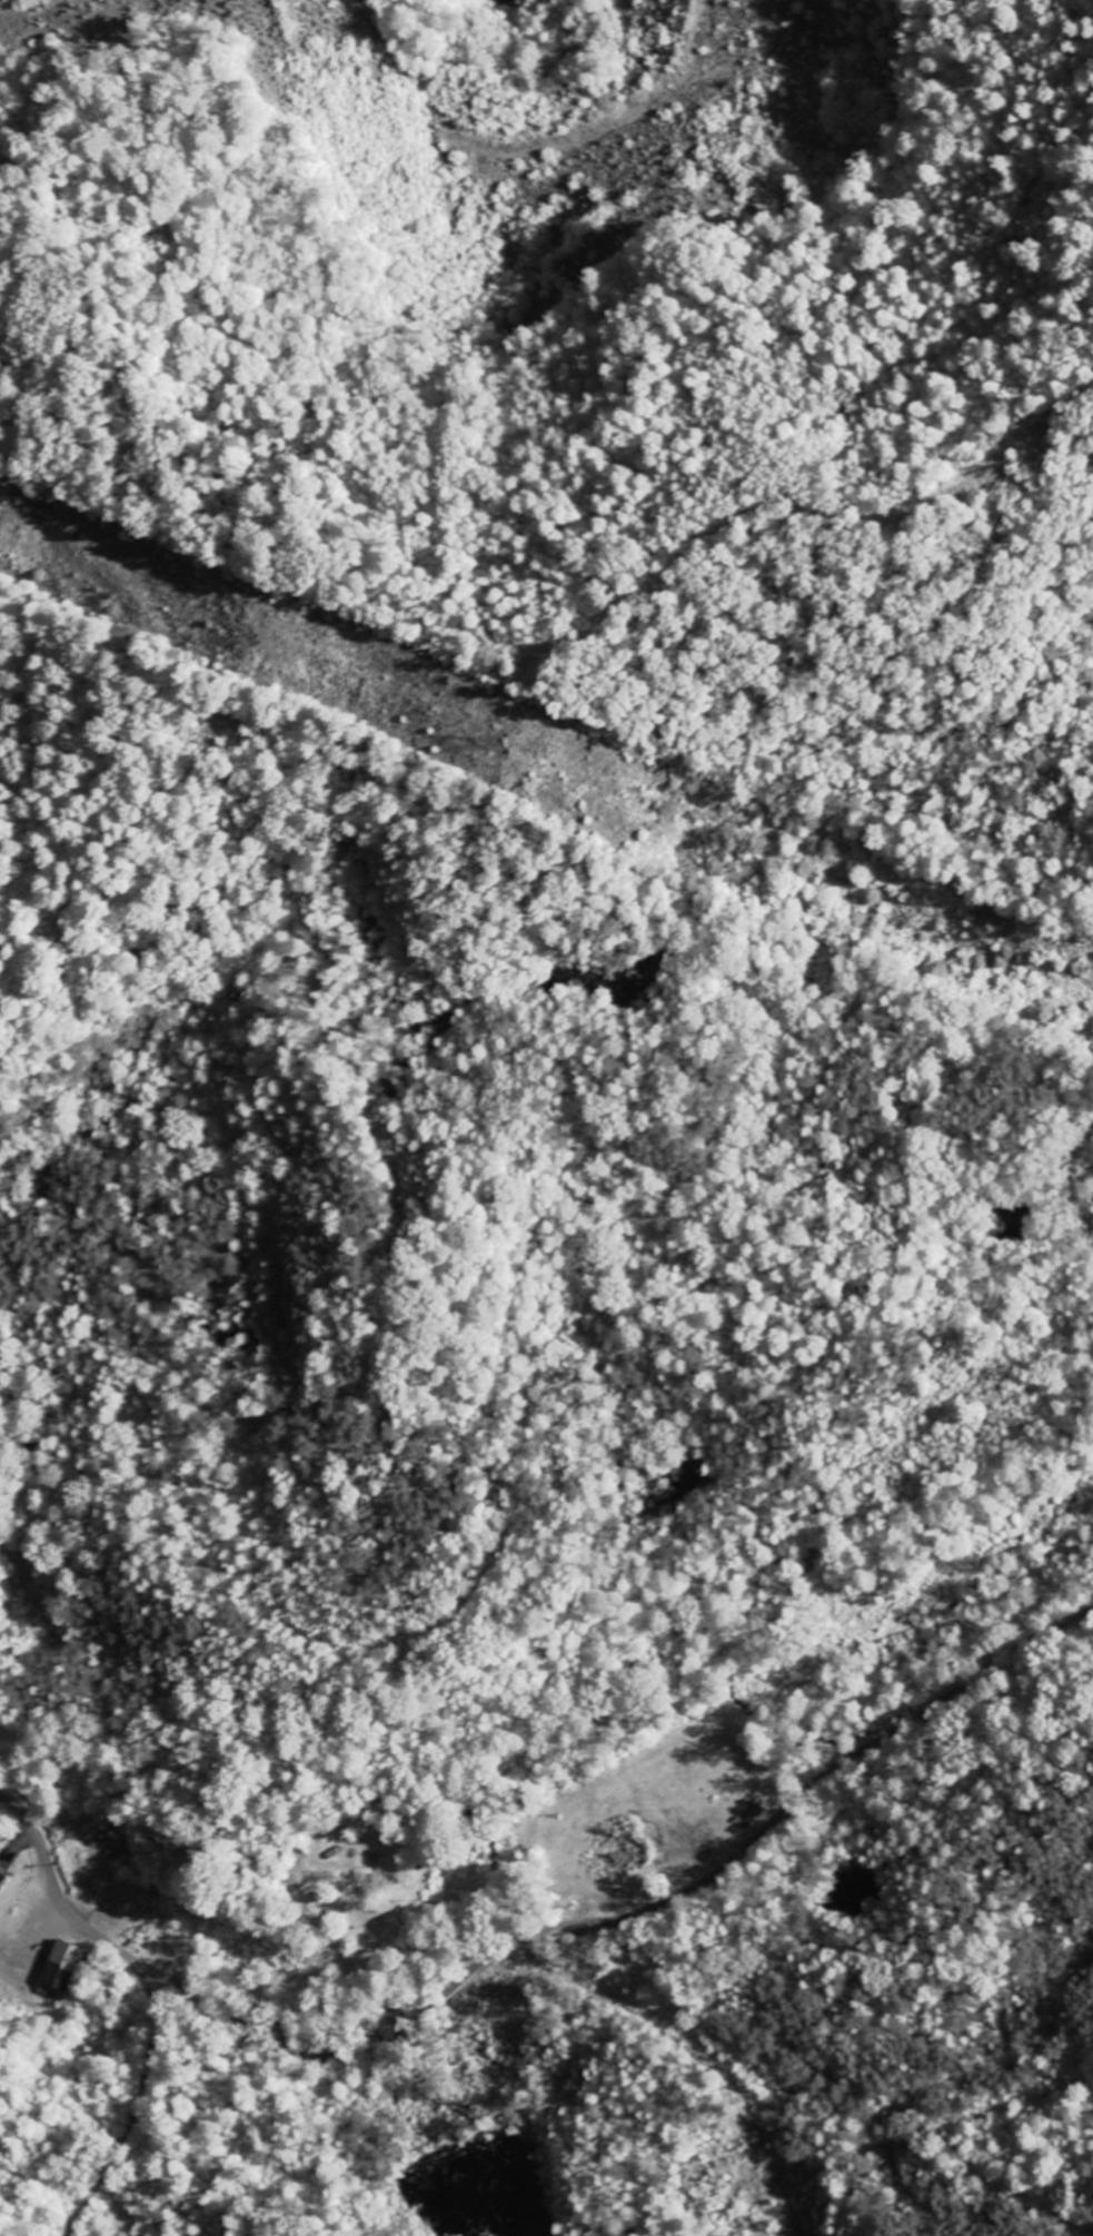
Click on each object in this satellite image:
building: (4, 1880)
road: (520, 1933)
building: (62, 1972)

